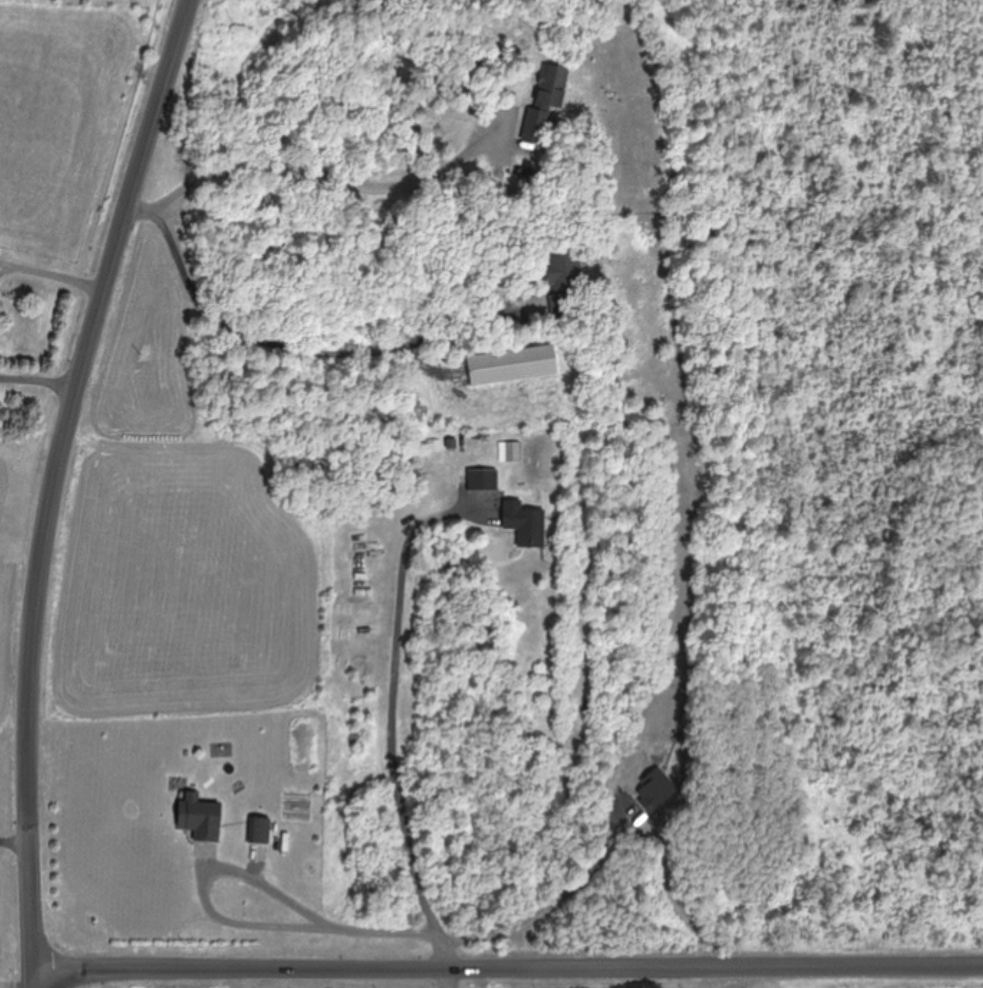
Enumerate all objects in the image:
building: (549, 88)
building: (562, 273)
road: (50, 287)
building: (561, 309)
building: (511, 367)
road: (37, 389)
building: (482, 481)
road: (53, 486)
building: (523, 525)
building: (199, 819)
building: (259, 832)
road: (14, 840)
road: (509, 973)
road: (359, 981)
road: (372, 981)

